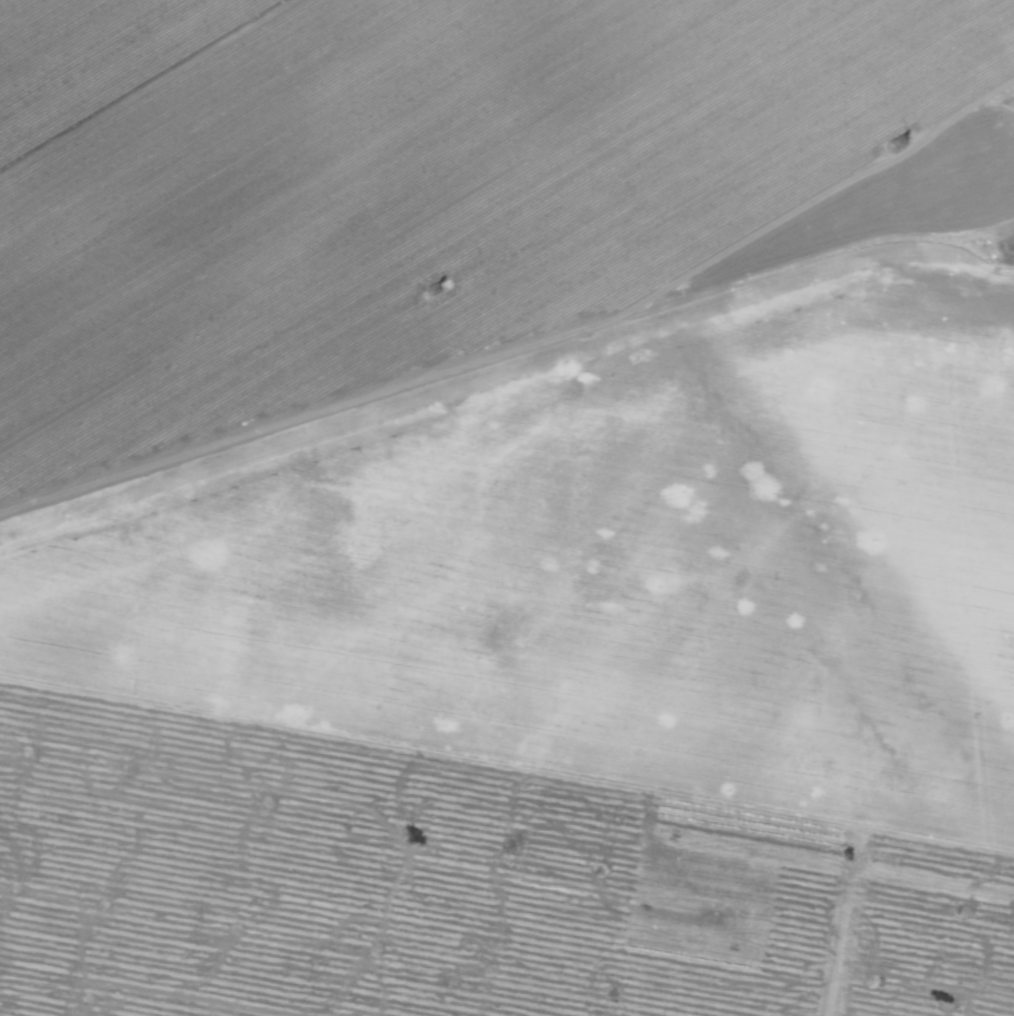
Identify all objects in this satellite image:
power tower: (896, 136)
power tower: (432, 285)
road: (504, 351)

